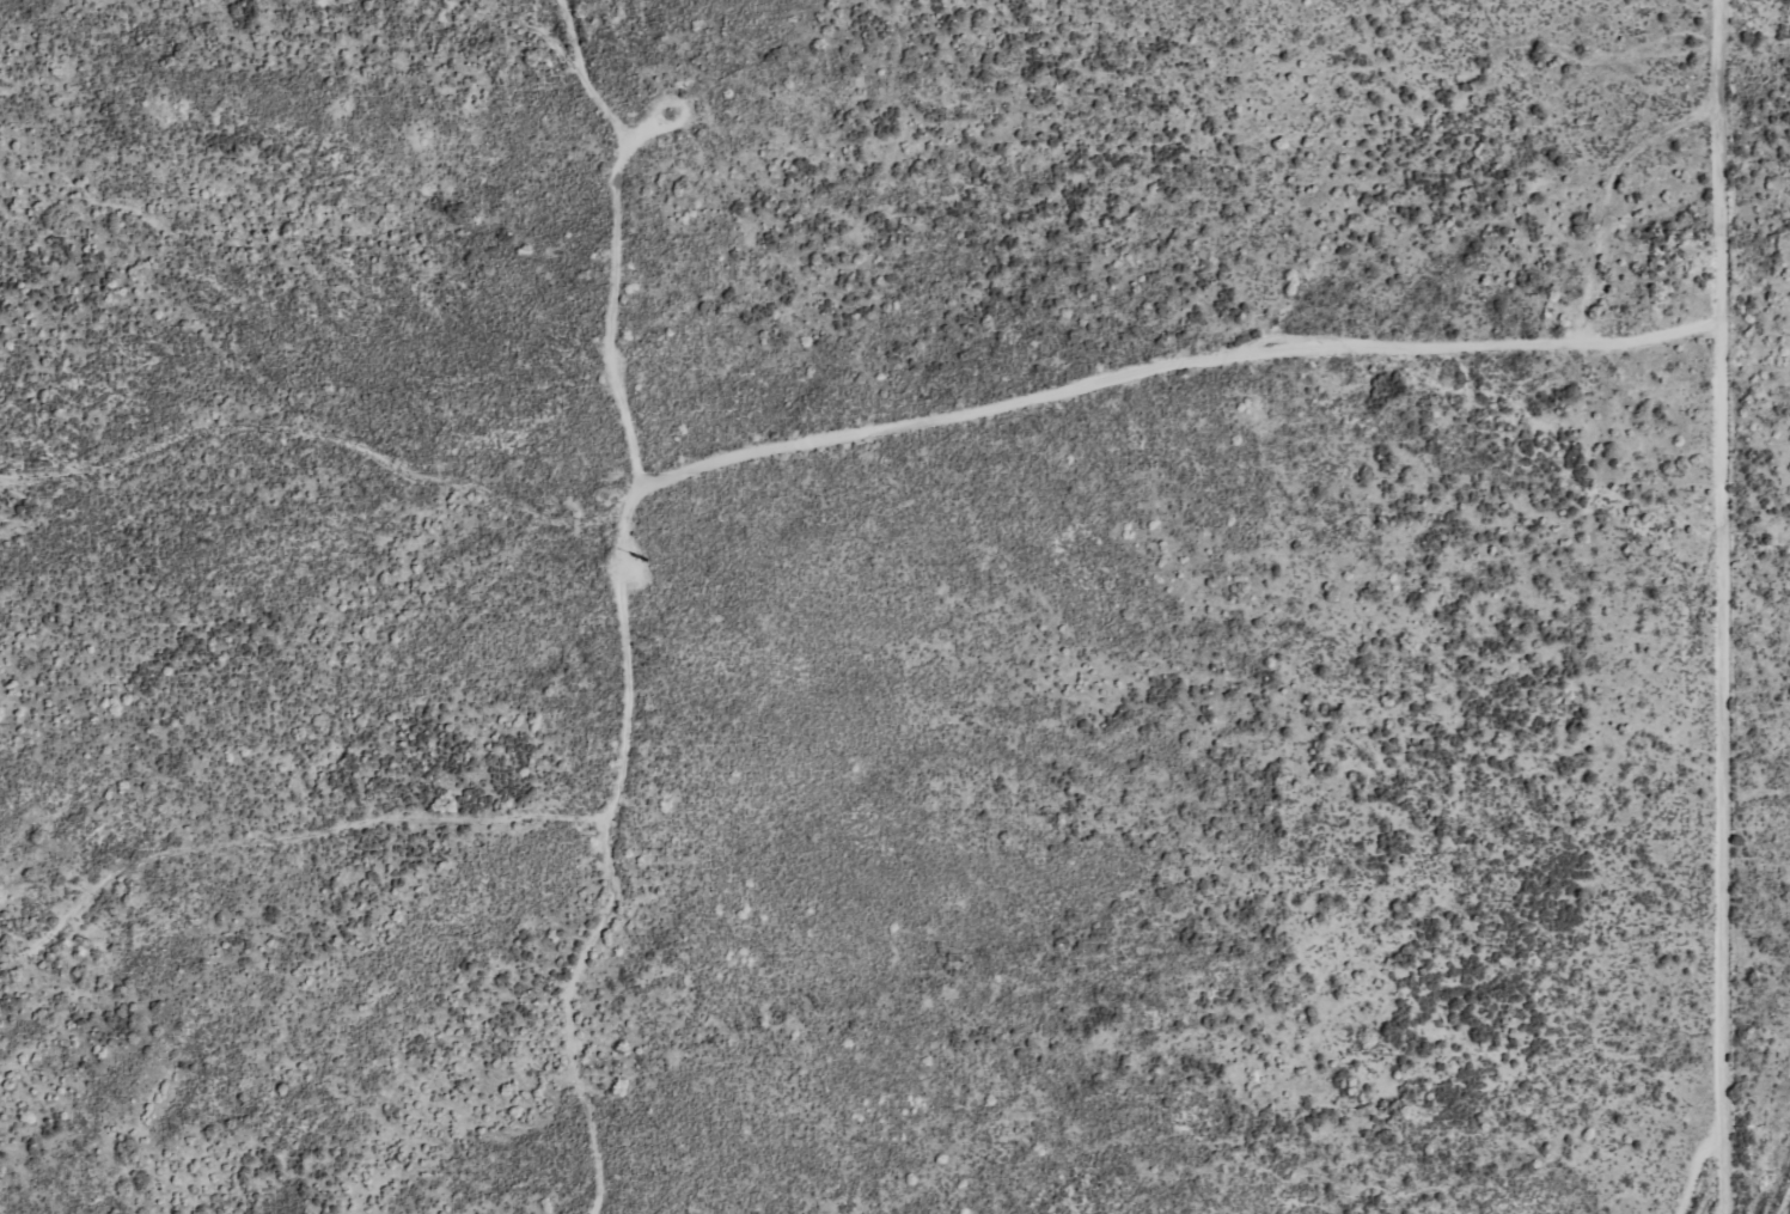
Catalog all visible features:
road: (1723, 606)
railway: (1783, 1198)

